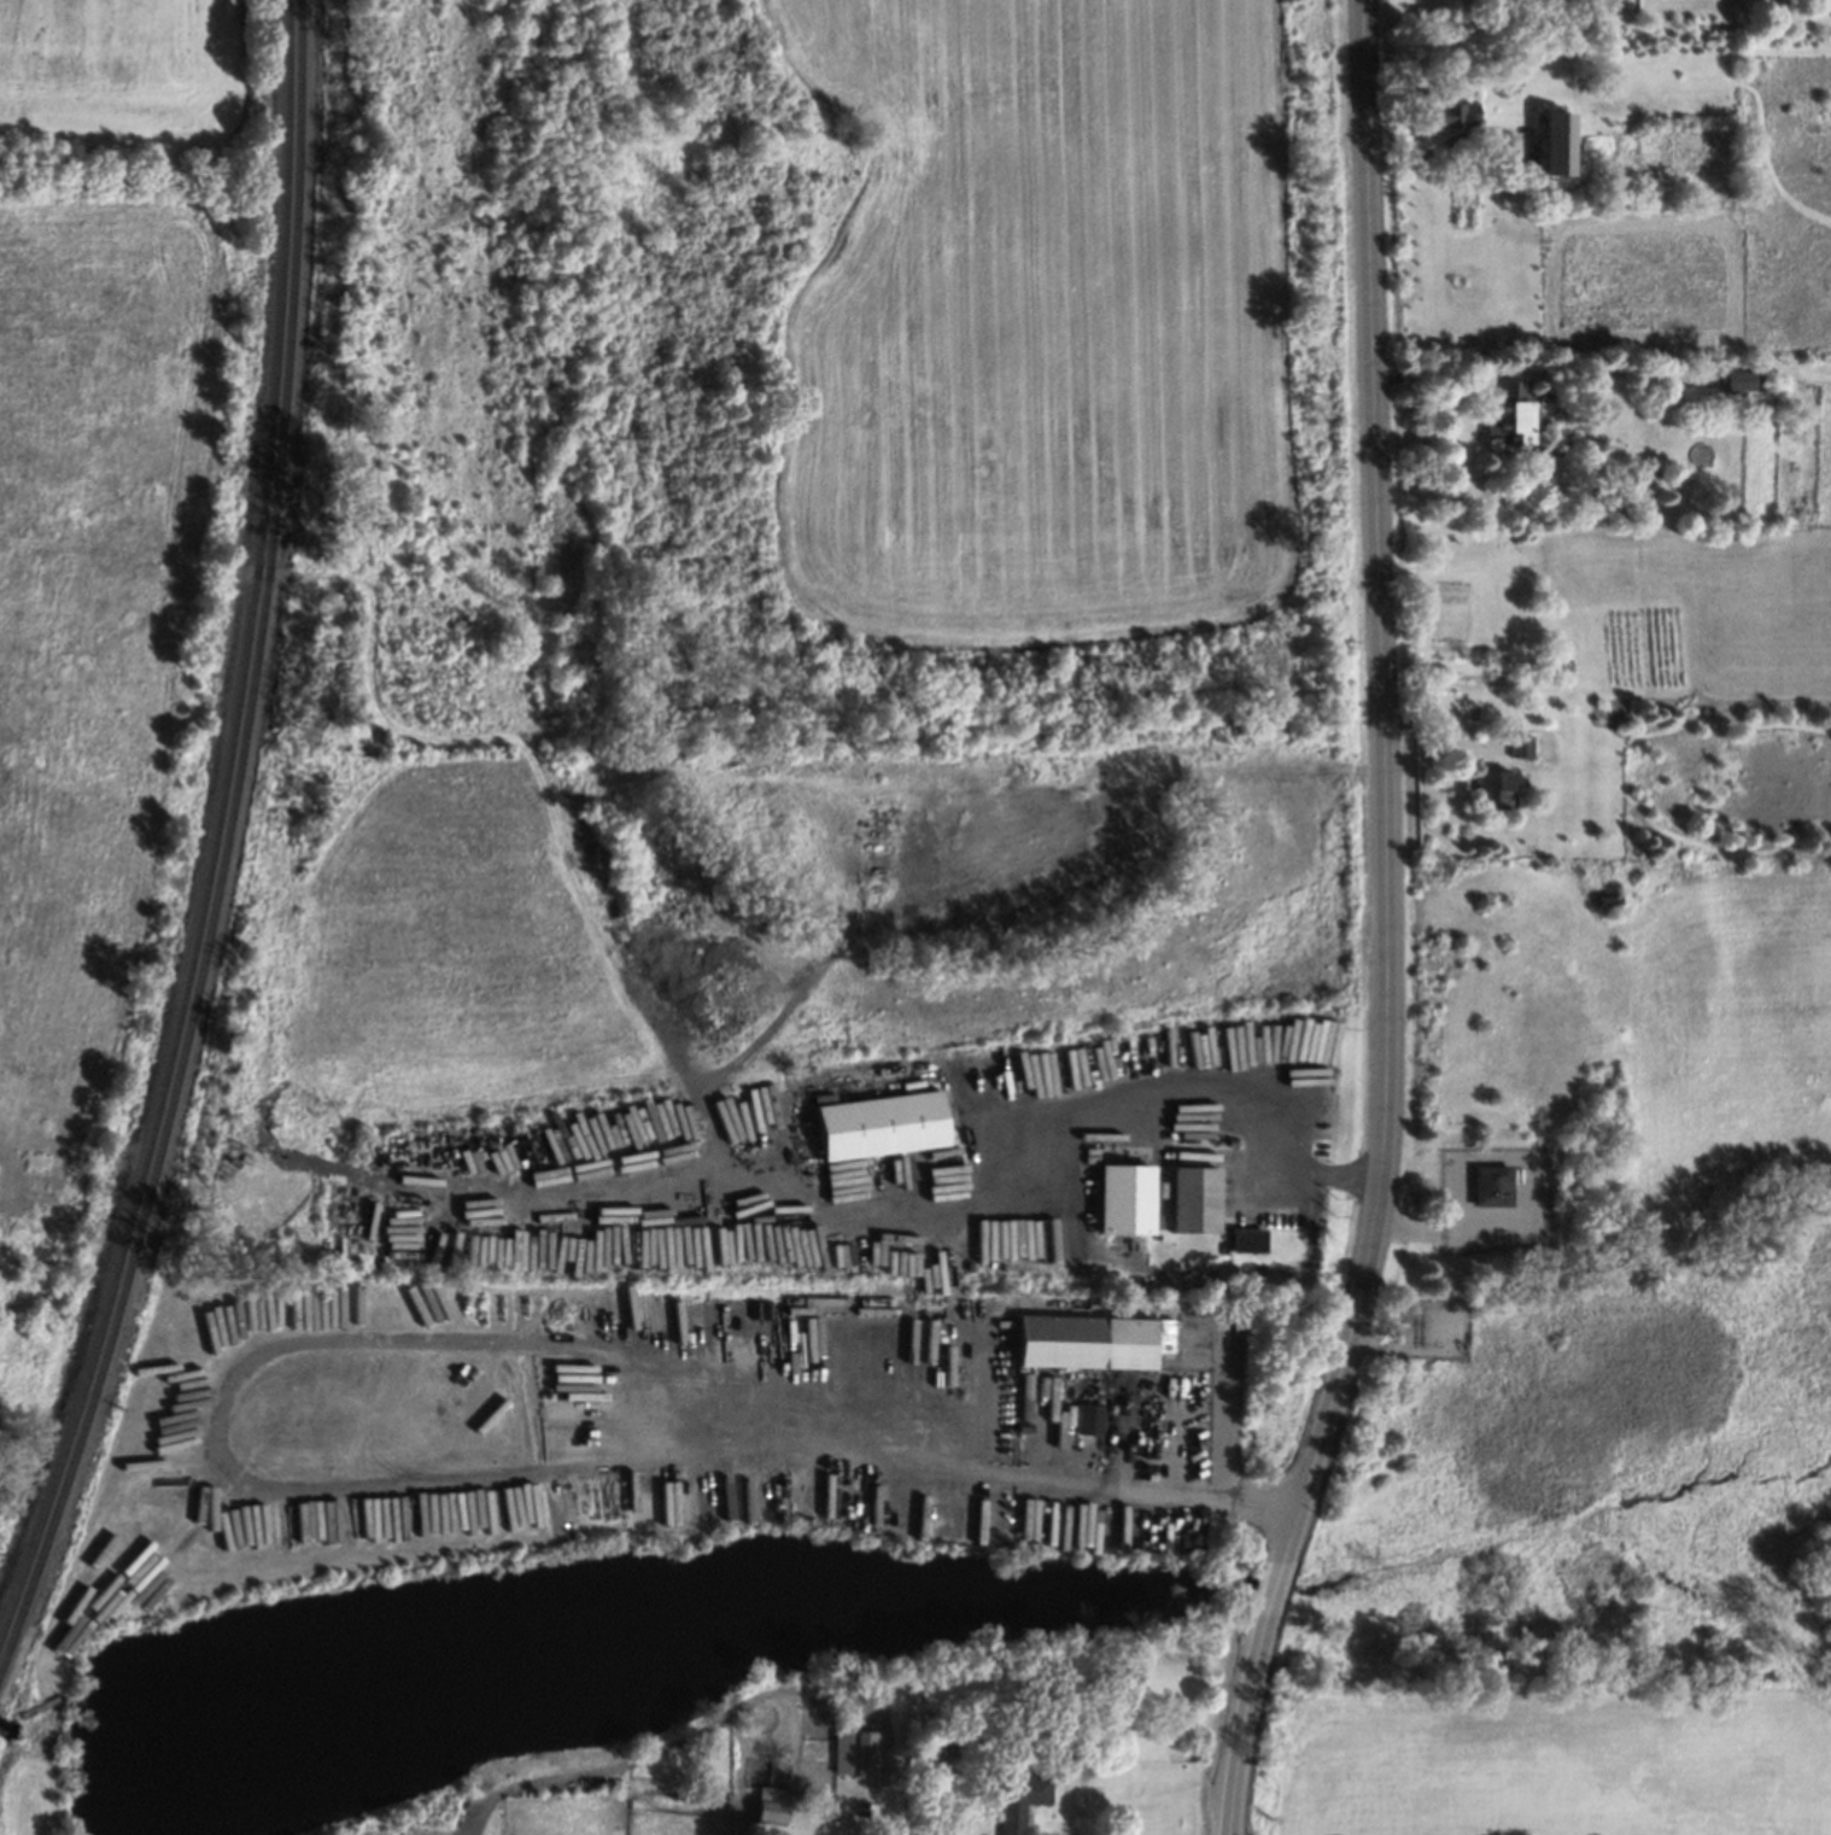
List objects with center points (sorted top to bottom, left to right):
building: (1452, 112)
building: (1551, 145)
road: (1488, 157)
building: (1739, 381)
building: (1695, 396)
building: (1508, 415)
building: (1620, 431)
road: (1379, 656)
building: (1542, 659)
railway: (247, 661)
railway: (259, 661)
building: (1517, 744)
building: (1491, 783)
building: (1603, 898)
road: (1201, 1100)
building: (879, 1124)
building: (1490, 1181)
building: (1191, 1198)
building: (1121, 1202)
road: (1440, 1227)
building: (1242, 1239)
road: (384, 1338)
building: (1093, 1342)
road: (508, 1407)
road: (1228, 1410)
building: (1089, 1419)
road: (1321, 1437)
road: (1212, 1473)
railway: (58, 1479)
railway: (65, 1494)
road: (1274, 1600)
road: (714, 1717)
road: (1242, 1735)
building: (855, 1752)
road: (852, 1789)
building: (1014, 1798)
building: (772, 1806)
road: (820, 1812)
road: (856, 1821)

